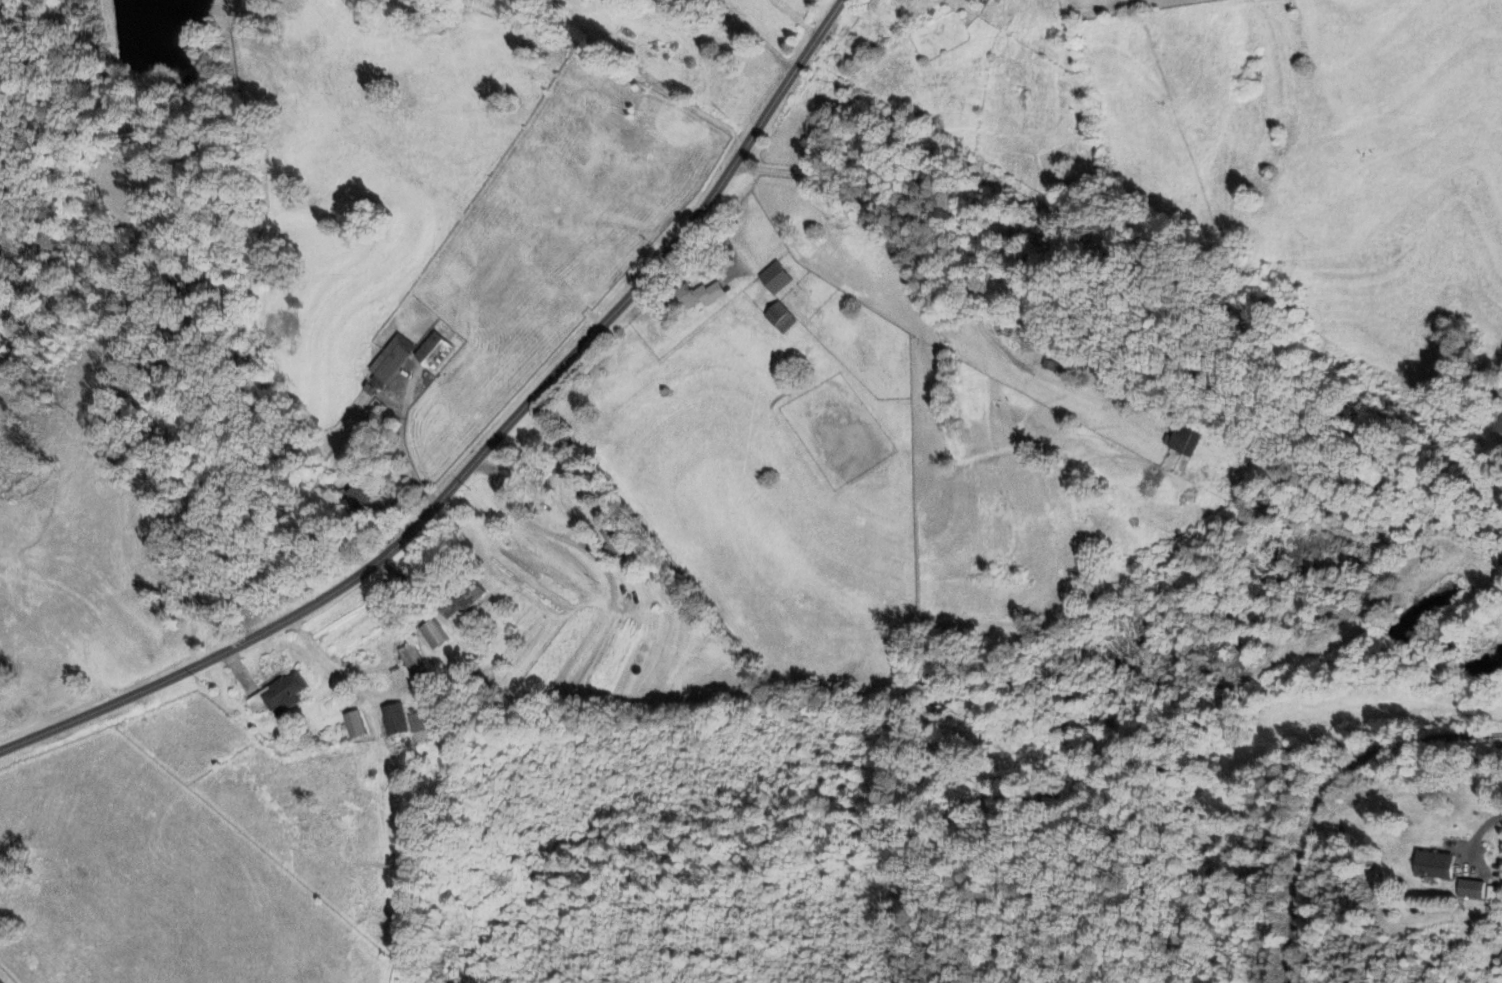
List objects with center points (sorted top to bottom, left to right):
road: (793, 18)
road: (752, 33)
road: (944, 252)
building: (775, 279)
building: (699, 296)
building: (780, 319)
building: (433, 353)
building: (392, 360)
building: (1097, 372)
building: (1494, 423)
building: (1185, 442)
road: (479, 445)
building: (356, 502)
road: (542, 529)
building: (462, 601)
building: (432, 635)
building: (414, 664)
building: (279, 695)
building: (395, 721)
building: (354, 726)
building: (422, 727)
road: (1321, 791)
road: (1480, 829)
building: (1434, 866)
building: (1470, 890)
building: (1493, 894)
building: (1500, 970)

